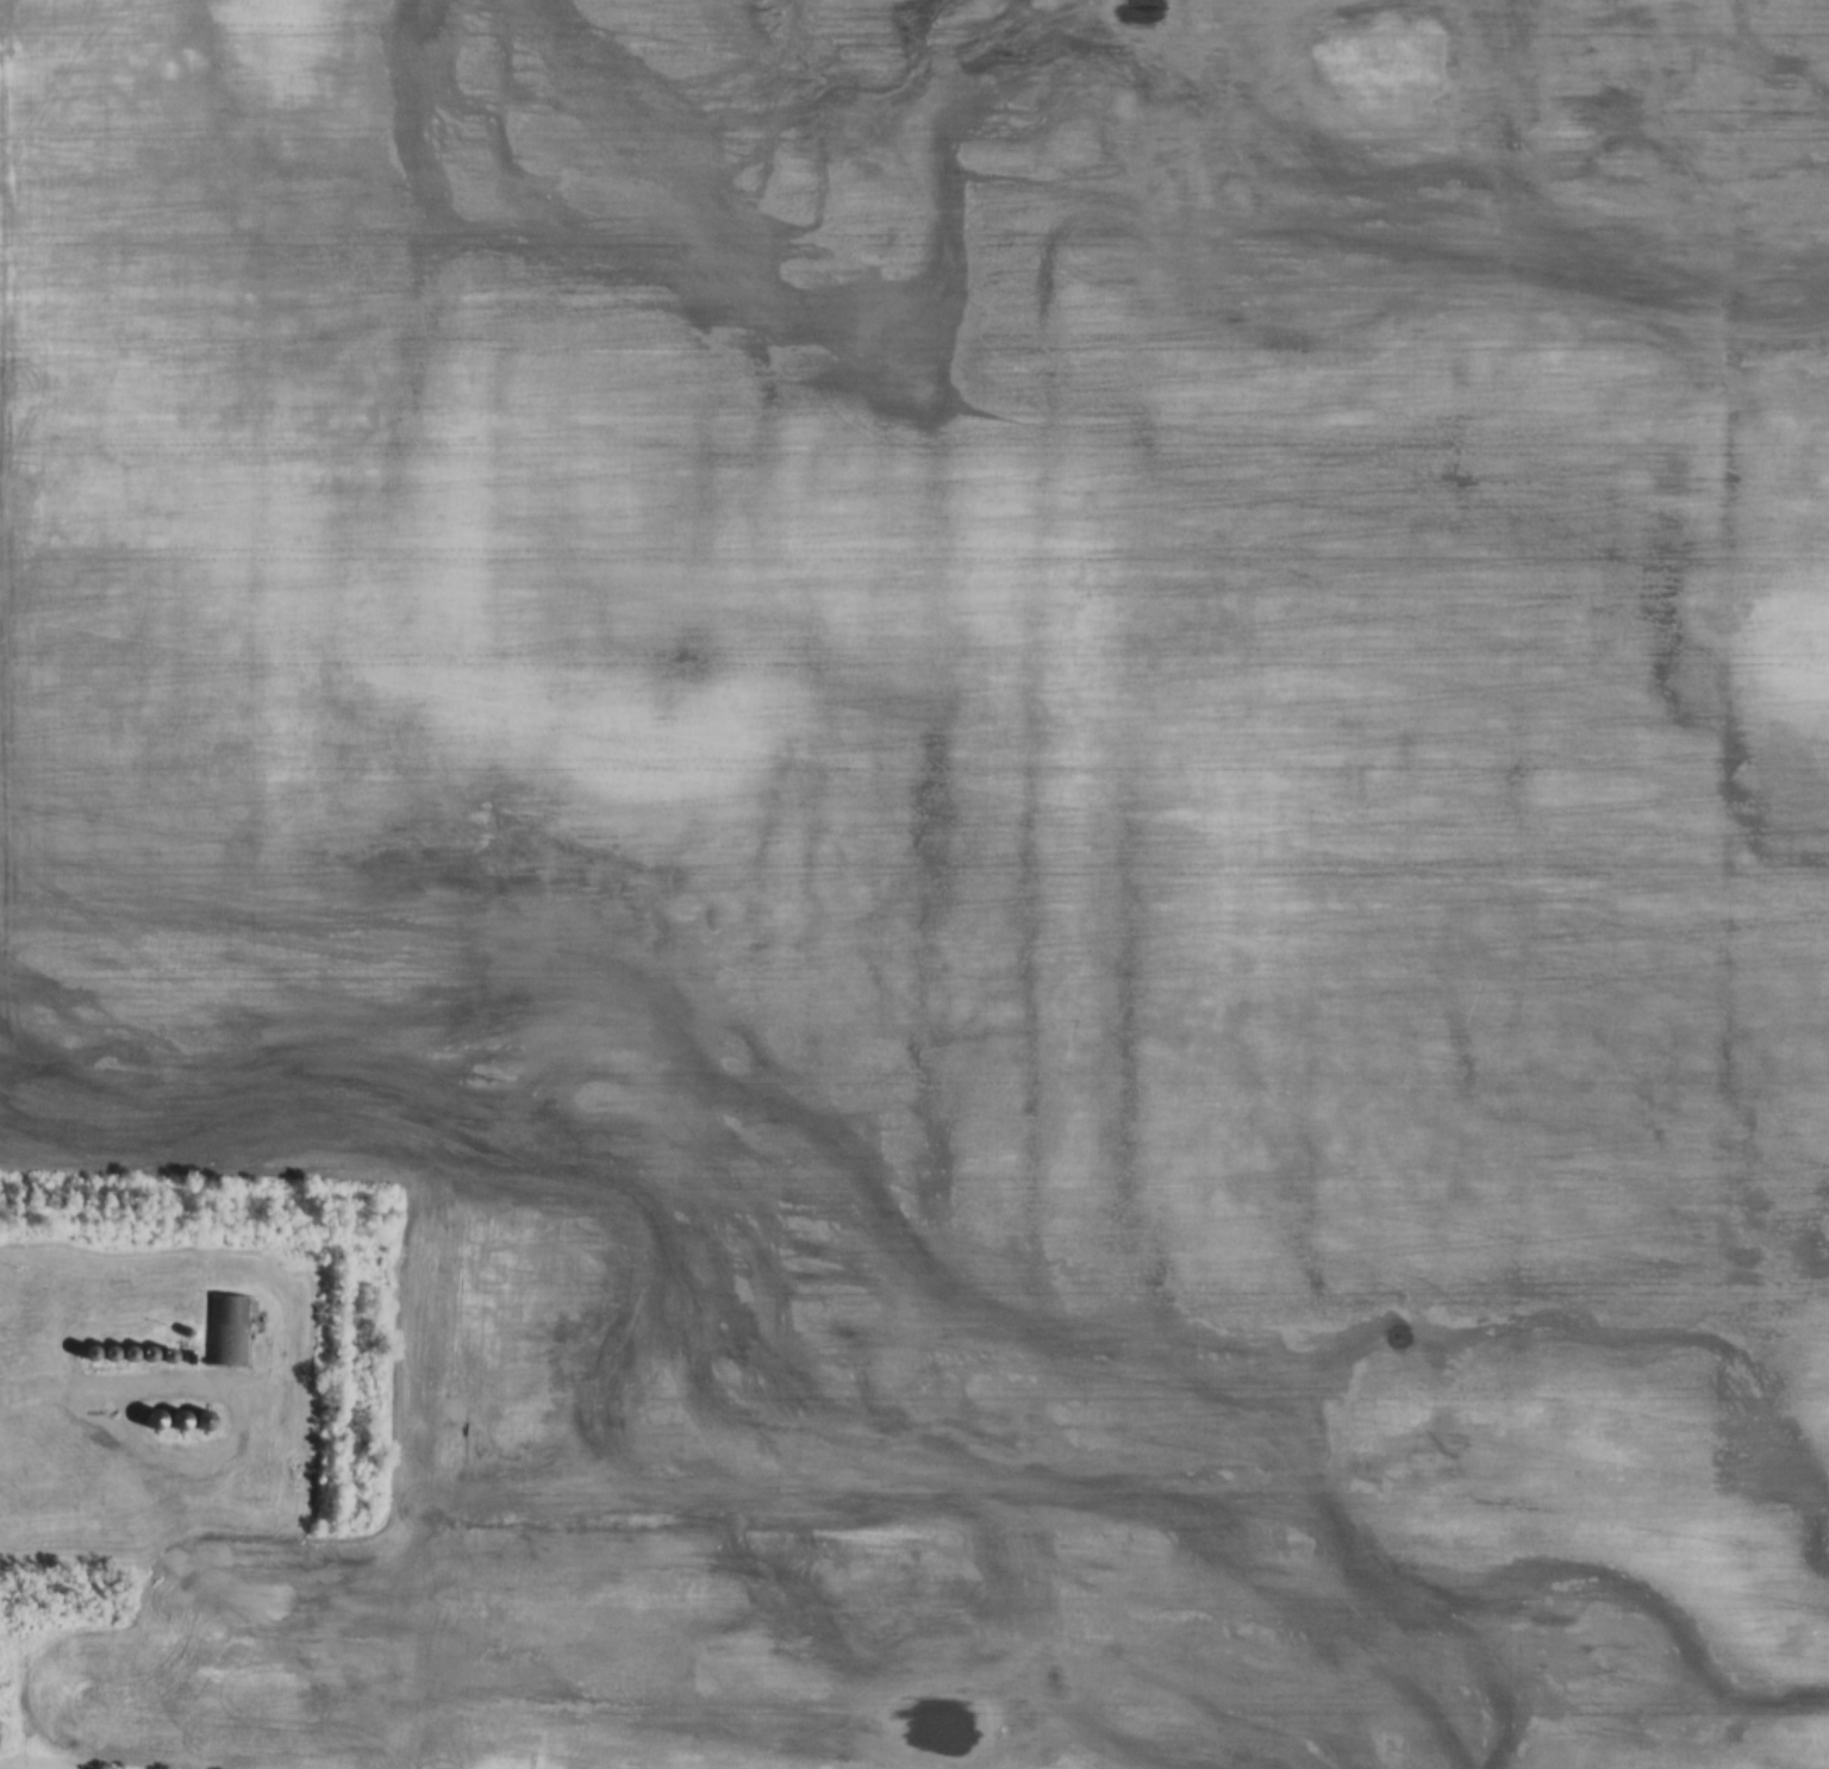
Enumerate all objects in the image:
building: (225, 1332)
building: (192, 1336)
silo: (192, 1336)
building: (89, 1355)
silo: (89, 1355)
building: (108, 1355)
silo: (108, 1355)
building: (129, 1356)
silo: (129, 1356)
building: (148, 1356)
silo: (148, 1356)
building: (168, 1357)
silo: (168, 1357)
road: (38, 1392)
building: (152, 1420)
silo: (152, 1420)
building: (177, 1421)
silo: (177, 1421)
building: (202, 1421)
silo: (202, 1421)

